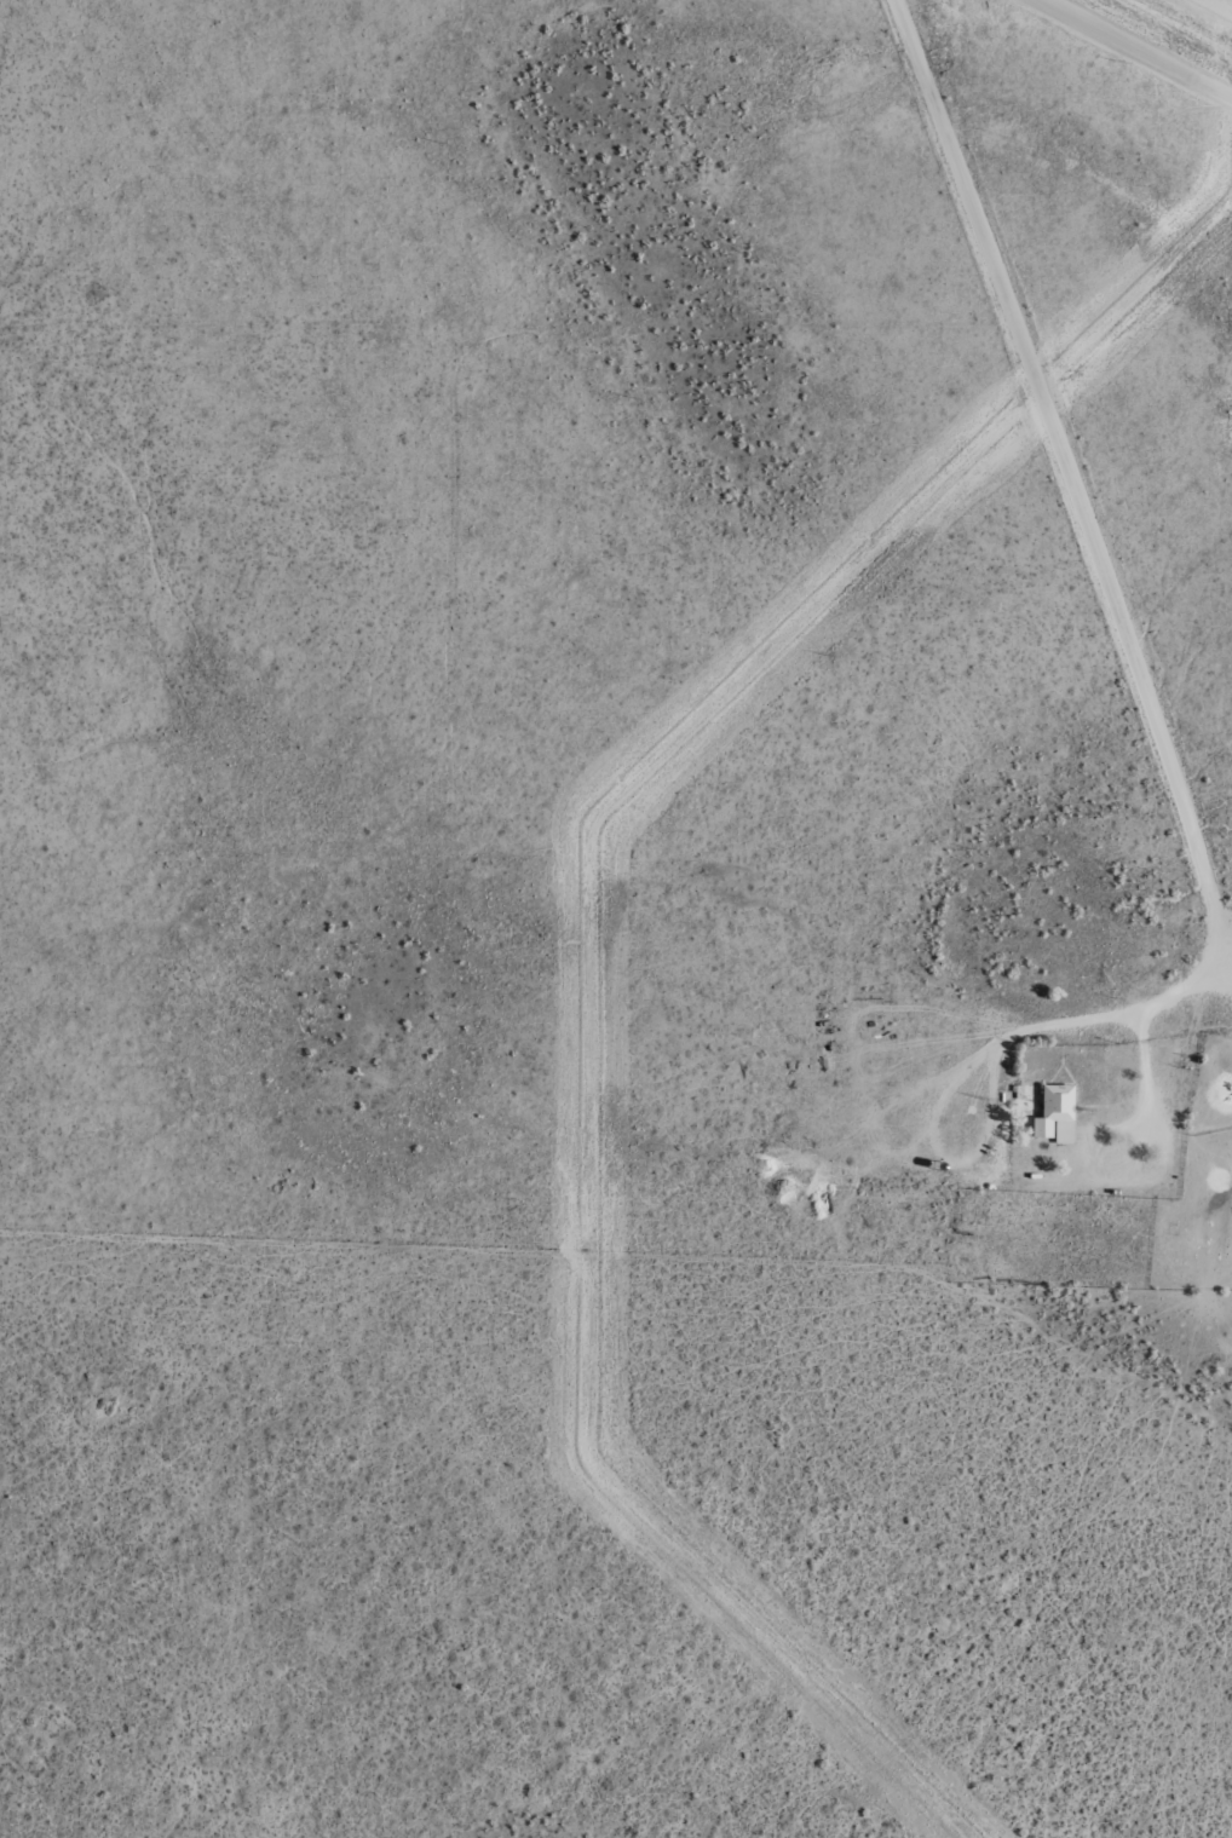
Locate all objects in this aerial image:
road: (1121, 56)
road: (1073, 476)
road: (1228, 961)
road: (995, 1064)
road: (1147, 1090)

